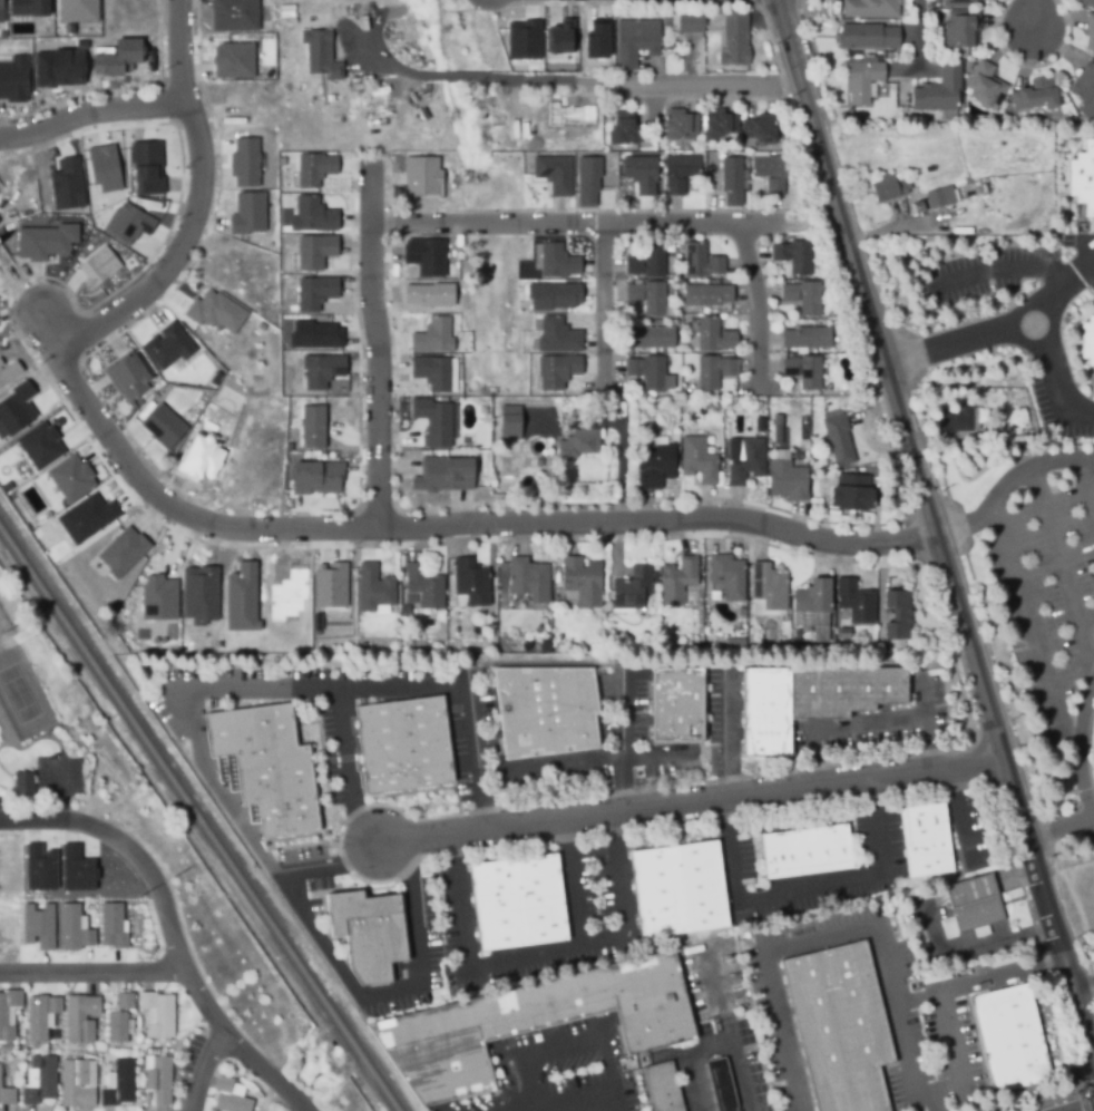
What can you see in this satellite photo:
building: (1087, 1)
building: (960, 2)
building: (27, 8)
building: (871, 8)
building: (75, 10)
building: (0, 12)
building: (233, 13)
road: (1036, 14)
building: (686, 25)
building: (961, 29)
building: (1090, 31)
road: (917, 32)
building: (868, 36)
building: (559, 37)
building: (595, 39)
building: (520, 40)
building: (735, 40)
building: (634, 41)
building: (114, 58)
building: (316, 58)
building: (231, 61)
building: (56, 68)
road: (490, 77)
building: (11, 79)
building: (865, 80)
building: (986, 86)
road: (692, 88)
building: (1085, 90)
building: (940, 92)
building: (1037, 95)
road: (91, 116)
building: (721, 124)
building: (680, 125)
building: (761, 128)
building: (625, 129)
building: (244, 162)
building: (314, 167)
building: (100, 169)
building: (143, 169)
building: (641, 172)
building: (682, 172)
building: (772, 173)
building: (550, 174)
building: (418, 177)
building: (1083, 177)
building: (584, 179)
building: (733, 182)
building: (65, 186)
building: (890, 188)
building: (941, 196)
road: (197, 204)
building: (918, 204)
building: (246, 213)
building: (310, 215)
road: (822, 221)
building: (124, 224)
road: (588, 225)
building: (41, 243)
building: (314, 251)
building: (794, 256)
building: (422, 257)
building: (558, 261)
building: (648, 262)
building: (702, 262)
building: (96, 266)
road: (1003, 275)
road: (1068, 281)
building: (312, 293)
building: (427, 295)
building: (709, 295)
building: (549, 296)
building: (804, 296)
building: (649, 298)
road: (755, 303)
road: (608, 306)
building: (214, 311)
road: (1054, 324)
building: (713, 335)
building: (310, 337)
building: (430, 338)
building: (555, 338)
building: (652, 338)
building: (808, 338)
building: (1087, 340)
building: (164, 348)
road: (945, 349)
road: (377, 355)
building: (319, 370)
building: (554, 371)
building: (8, 372)
building: (651, 372)
building: (715, 372)
building: (805, 372)
building: (429, 373)
building: (127, 376)
road: (1054, 399)
building: (13, 409)
building: (433, 420)
building: (780, 420)
building: (958, 420)
building: (508, 421)
building: (159, 427)
building: (311, 427)
building: (838, 440)
building: (40, 445)
building: (579, 445)
building: (702, 455)
building: (198, 458)
building: (749, 461)
building: (656, 465)
building: (318, 476)
building: (440, 476)
building: (70, 477)
road: (1007, 479)
building: (789, 480)
road: (1086, 483)
building: (853, 494)
road: (929, 497)
building: (84, 518)
road: (429, 528)
building: (120, 553)
road: (1063, 569)
building: (726, 577)
building: (676, 582)
building: (582, 583)
building: (528, 584)
building: (329, 586)
building: (470, 586)
building: (423, 588)
building: (631, 589)
building: (373, 591)
building: (766, 593)
building: (199, 594)
building: (159, 598)
building: (238, 598)
building: (811, 602)
building: (854, 603)
building: (896, 616)
power tower: (6, 631)
road: (1036, 631)
building: (843, 635)
building: (733, 642)
building: (529, 647)
building: (540, 651)
road: (277, 691)
building: (809, 701)
building: (676, 706)
building: (545, 712)
road: (927, 720)
road: (865, 728)
building: (402, 744)
road: (1082, 753)
road: (660, 760)
building: (266, 766)
road: (585, 767)
road: (346, 782)
building: (22, 786)
road: (691, 798)
road: (957, 815)
railway: (197, 820)
road: (1063, 828)
building: (925, 841)
building: (805, 852)
building: (38, 869)
building: (75, 869)
road: (1017, 876)
power tower: (174, 879)
road: (570, 884)
building: (677, 890)
road: (969, 891)
power tower: (136, 894)
building: (518, 904)
building: (974, 906)
road: (743, 910)
building: (37, 926)
building: (110, 927)
building: (71, 928)
road: (176, 928)
building: (369, 935)
building: (1093, 935)
road: (834, 936)
road: (968, 946)
road: (536, 963)
road: (94, 969)
road: (341, 973)
road: (986, 978)
road: (1087, 992)
road: (720, 995)
building: (125, 1003)
road: (1087, 1012)
building: (8, 1013)
building: (39, 1016)
building: (158, 1016)
building: (80, 1021)
building: (533, 1024)
building: (839, 1027)
building: (117, 1030)
road: (600, 1030)
building: (1009, 1040)
road: (716, 1047)
road: (954, 1055)
building: (0, 1063)
road: (207, 1070)
building: (158, 1081)
building: (39, 1082)
building: (78, 1085)
building: (119, 1085)
building: (721, 1085)
building: (662, 1088)
building: (229, 1098)
building: (7, 1099)
road: (617, 1101)
road: (527, 1108)

